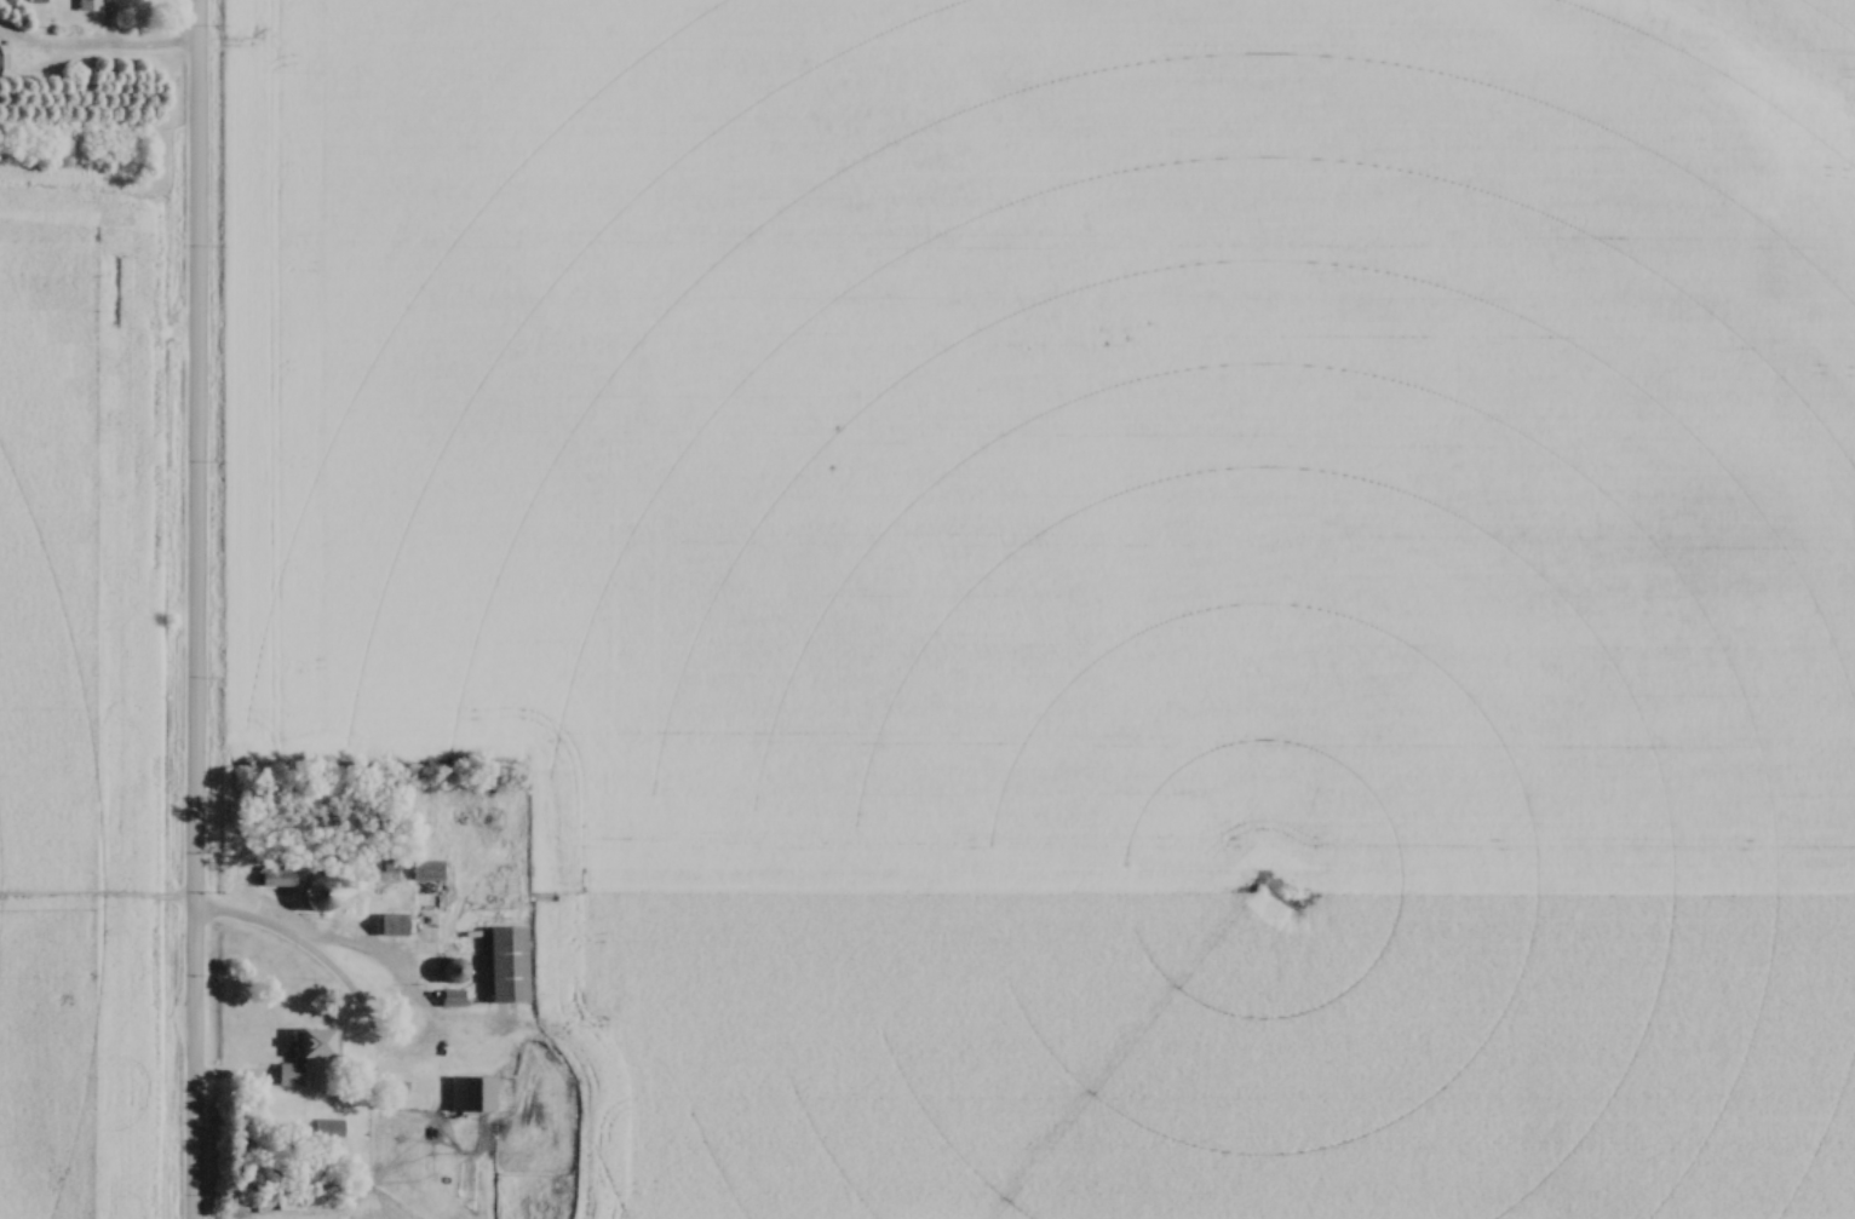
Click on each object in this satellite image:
building: (82, 5)
road: (116, 57)
road: (193, 609)
building: (423, 872)
building: (269, 878)
building: (311, 895)
road: (242, 922)
building: (500, 964)
building: (305, 1042)
road: (419, 1071)
building: (286, 1075)
building: (469, 1094)
building: (327, 1129)
building: (291, 1203)

